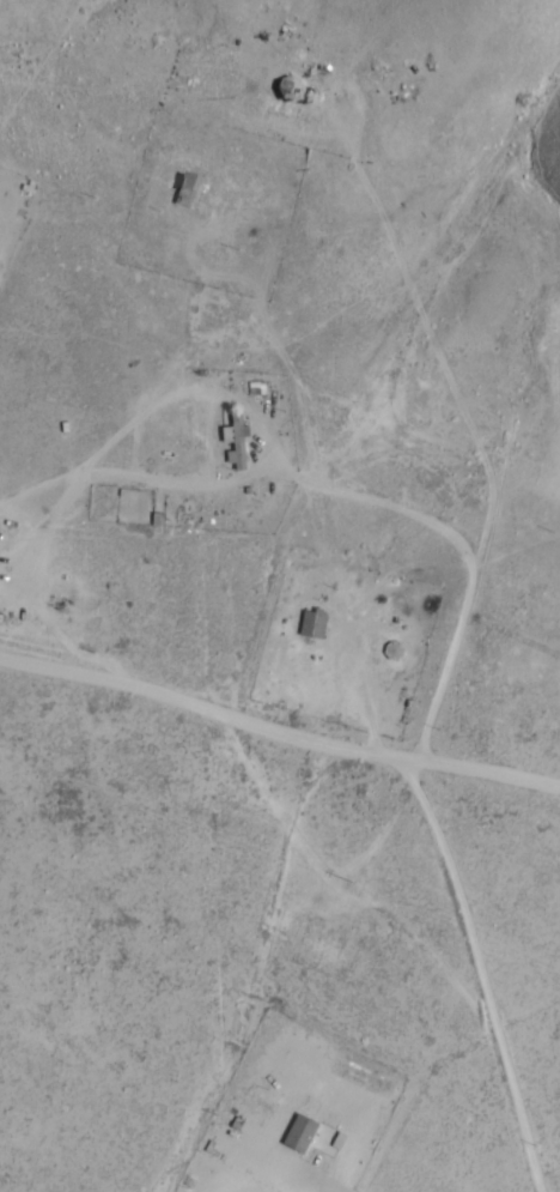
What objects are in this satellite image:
building: (299, 90)
building: (191, 190)
road: (287, 314)
building: (236, 440)
building: (312, 623)
building: (394, 651)
road: (157, 719)
building: (299, 1133)
road: (127, 1182)

